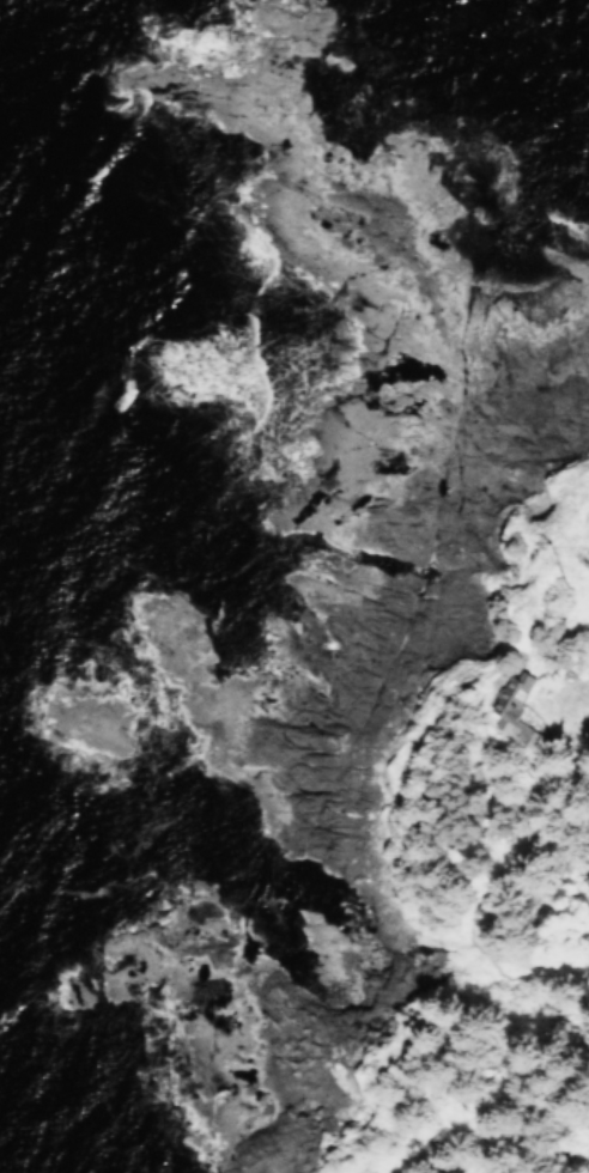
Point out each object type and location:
road: (587, 767)

